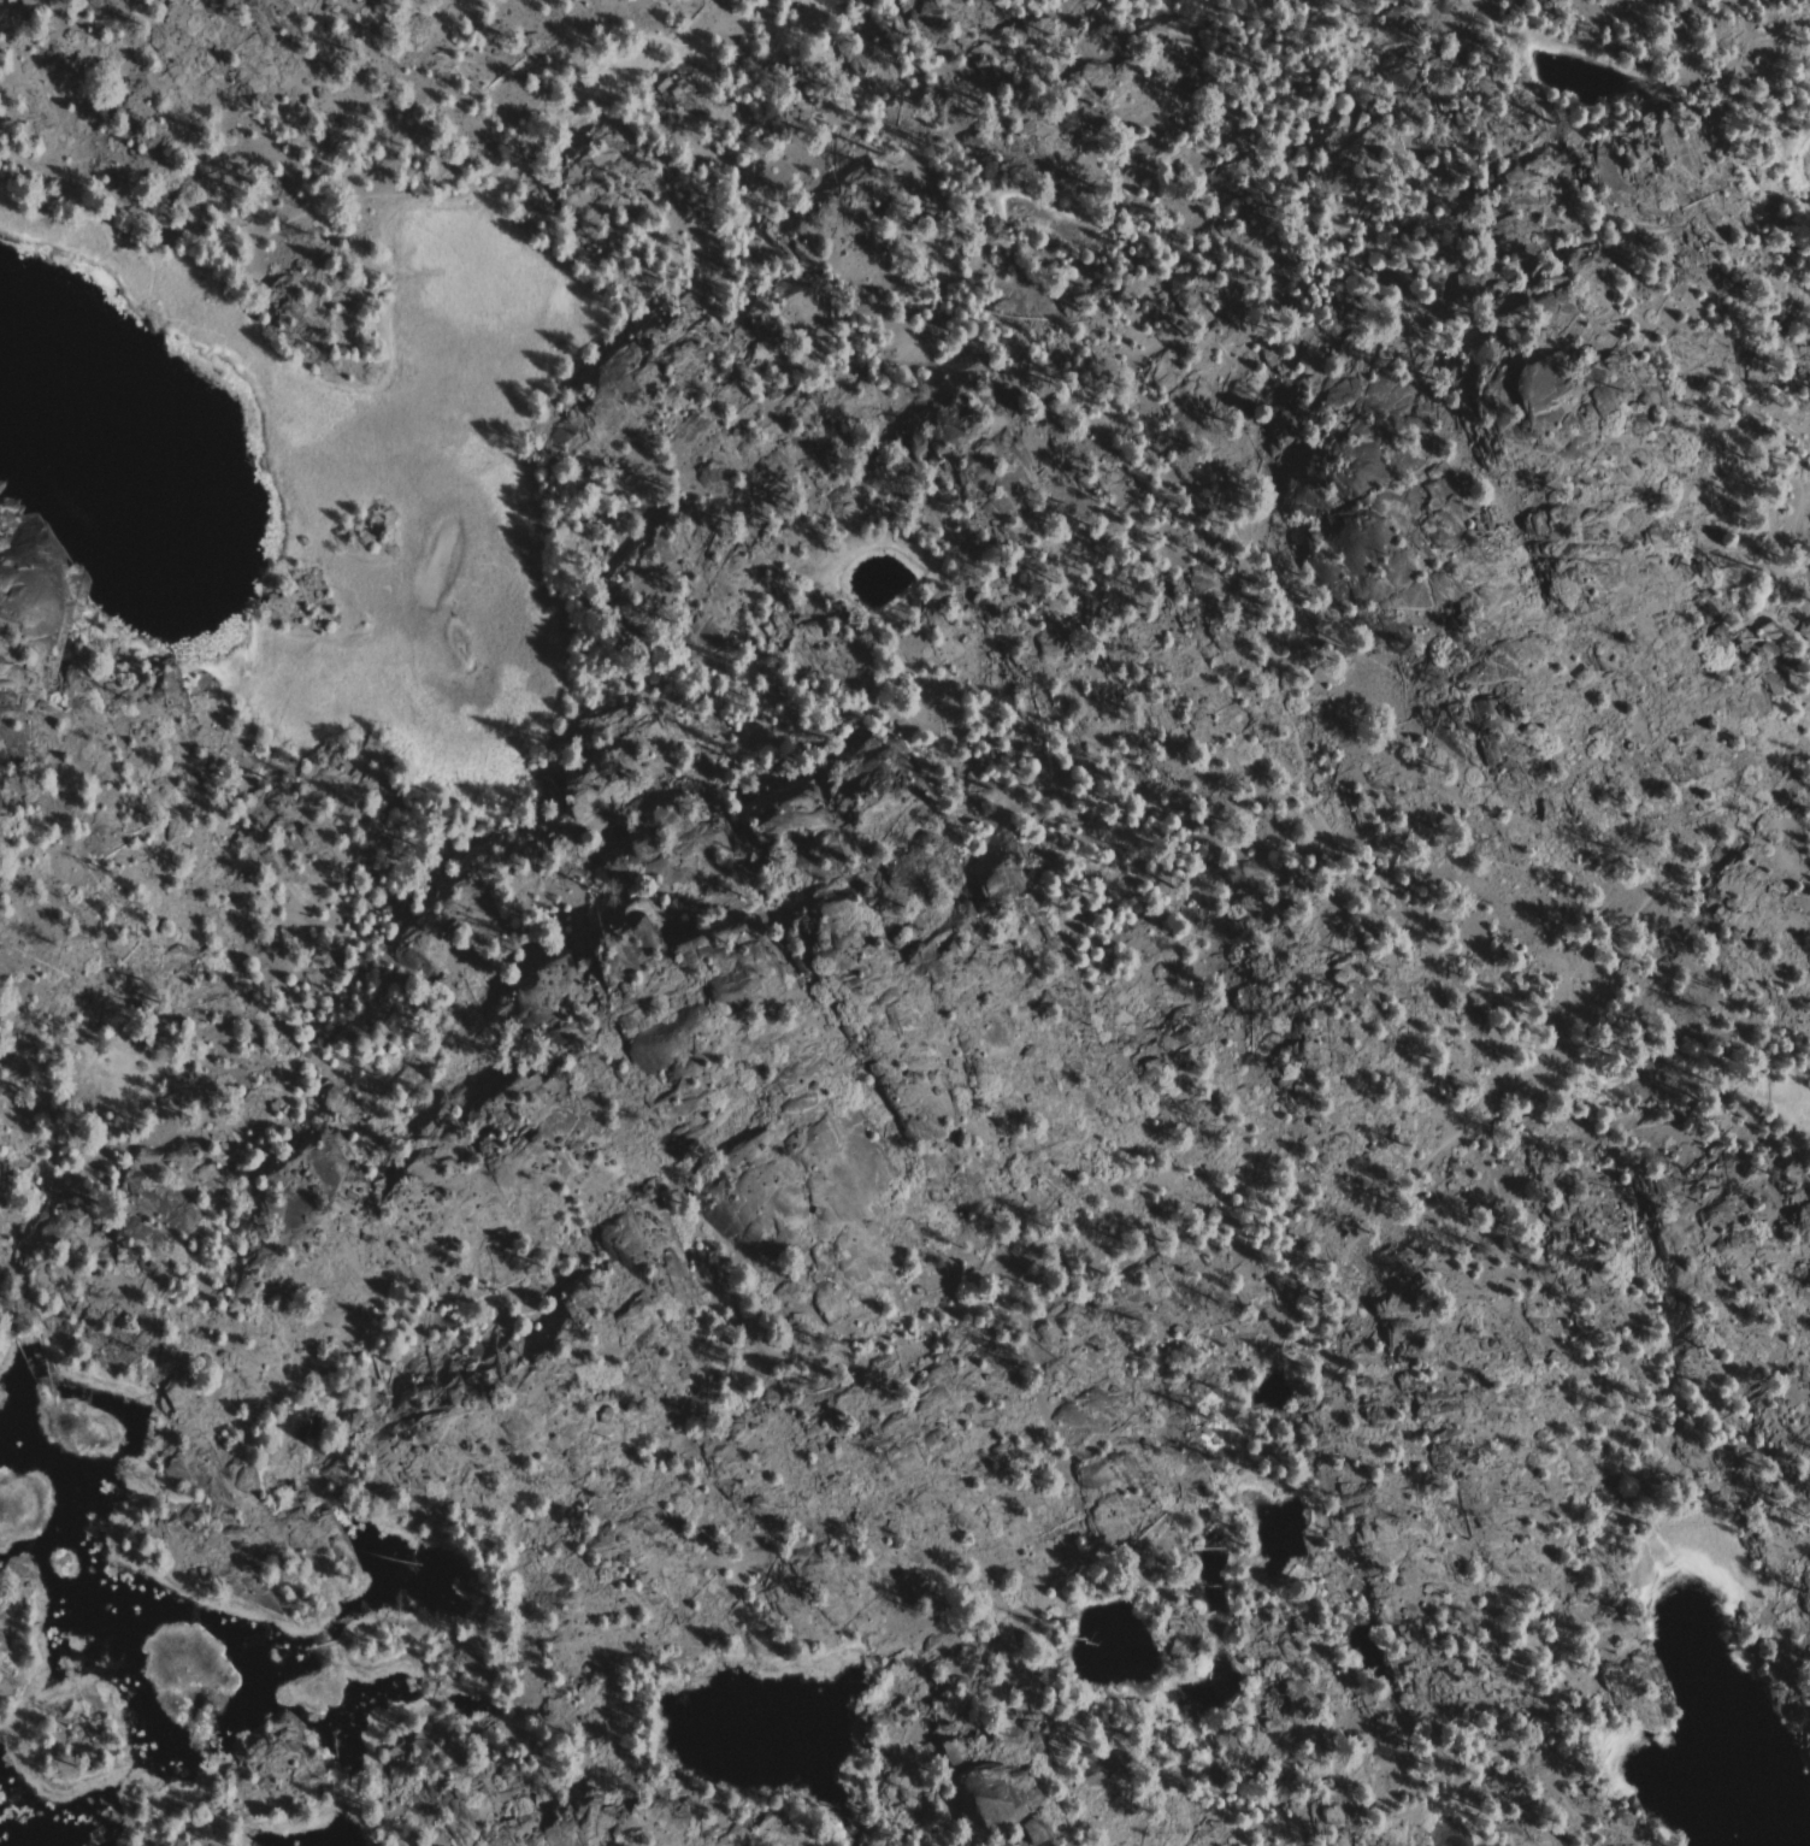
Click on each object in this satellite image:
road: (936, 213)
road: (1790, 533)
road: (1315, 1284)
road: (1562, 1505)

